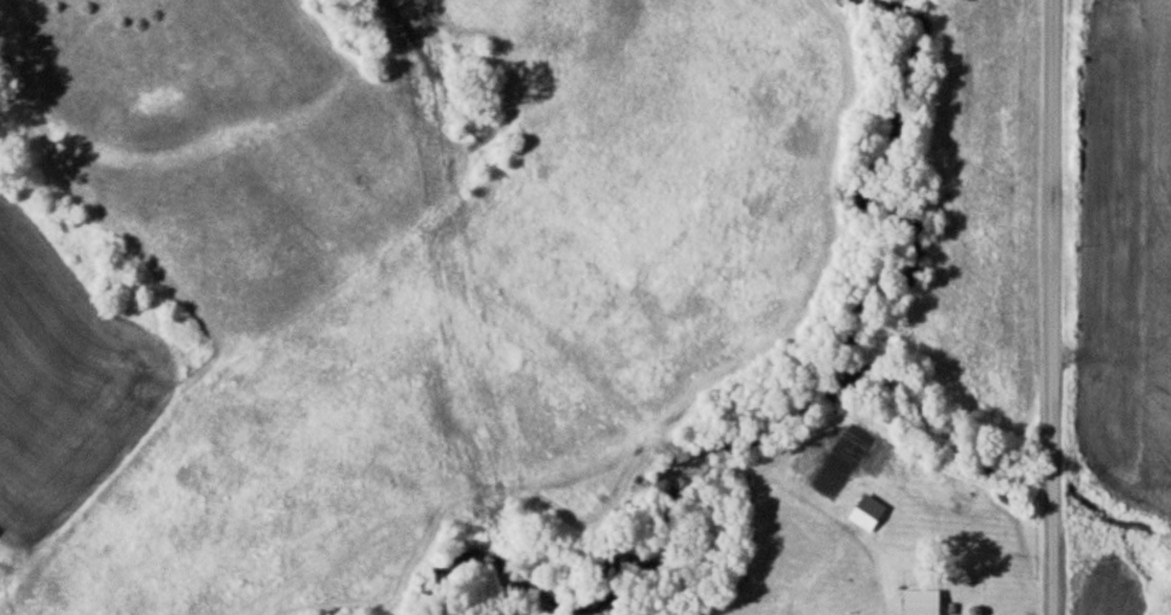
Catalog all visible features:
road: (1053, 307)
building: (956, 482)
building: (868, 511)
building: (931, 601)

